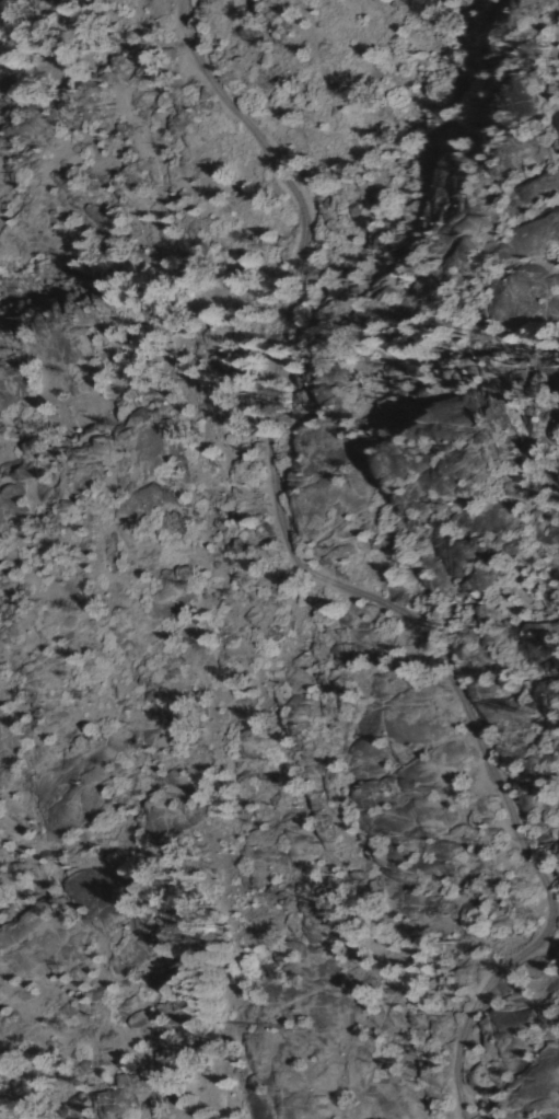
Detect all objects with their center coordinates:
road: (329, 582)

